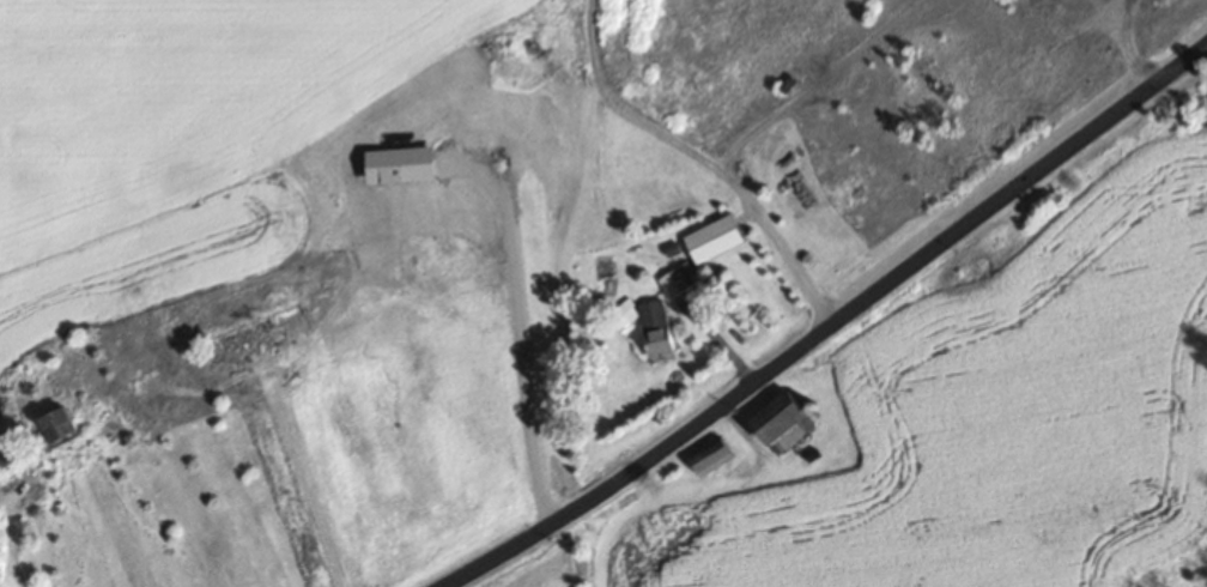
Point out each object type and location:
road: (703, 159)
building: (716, 236)
building: (678, 278)
building: (625, 314)
road: (832, 325)
building: (657, 327)
building: (256, 334)
road: (522, 337)
building: (787, 420)
building: (63, 425)
building: (716, 455)
road: (710, 492)

